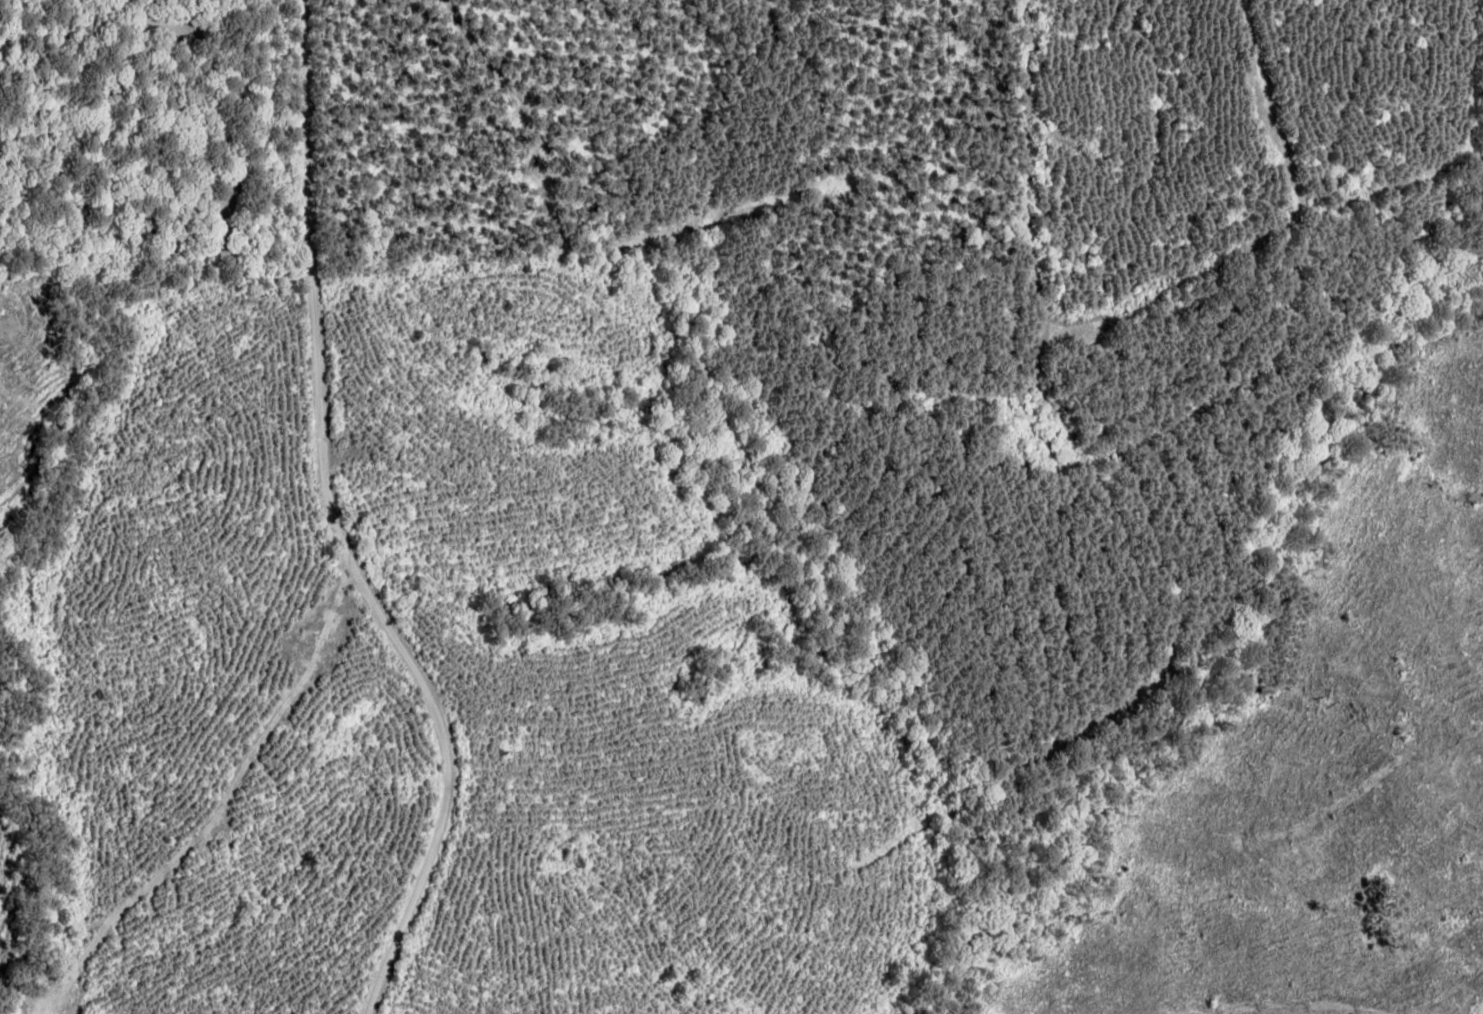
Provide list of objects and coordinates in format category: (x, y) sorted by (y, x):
road: (317, 519)

